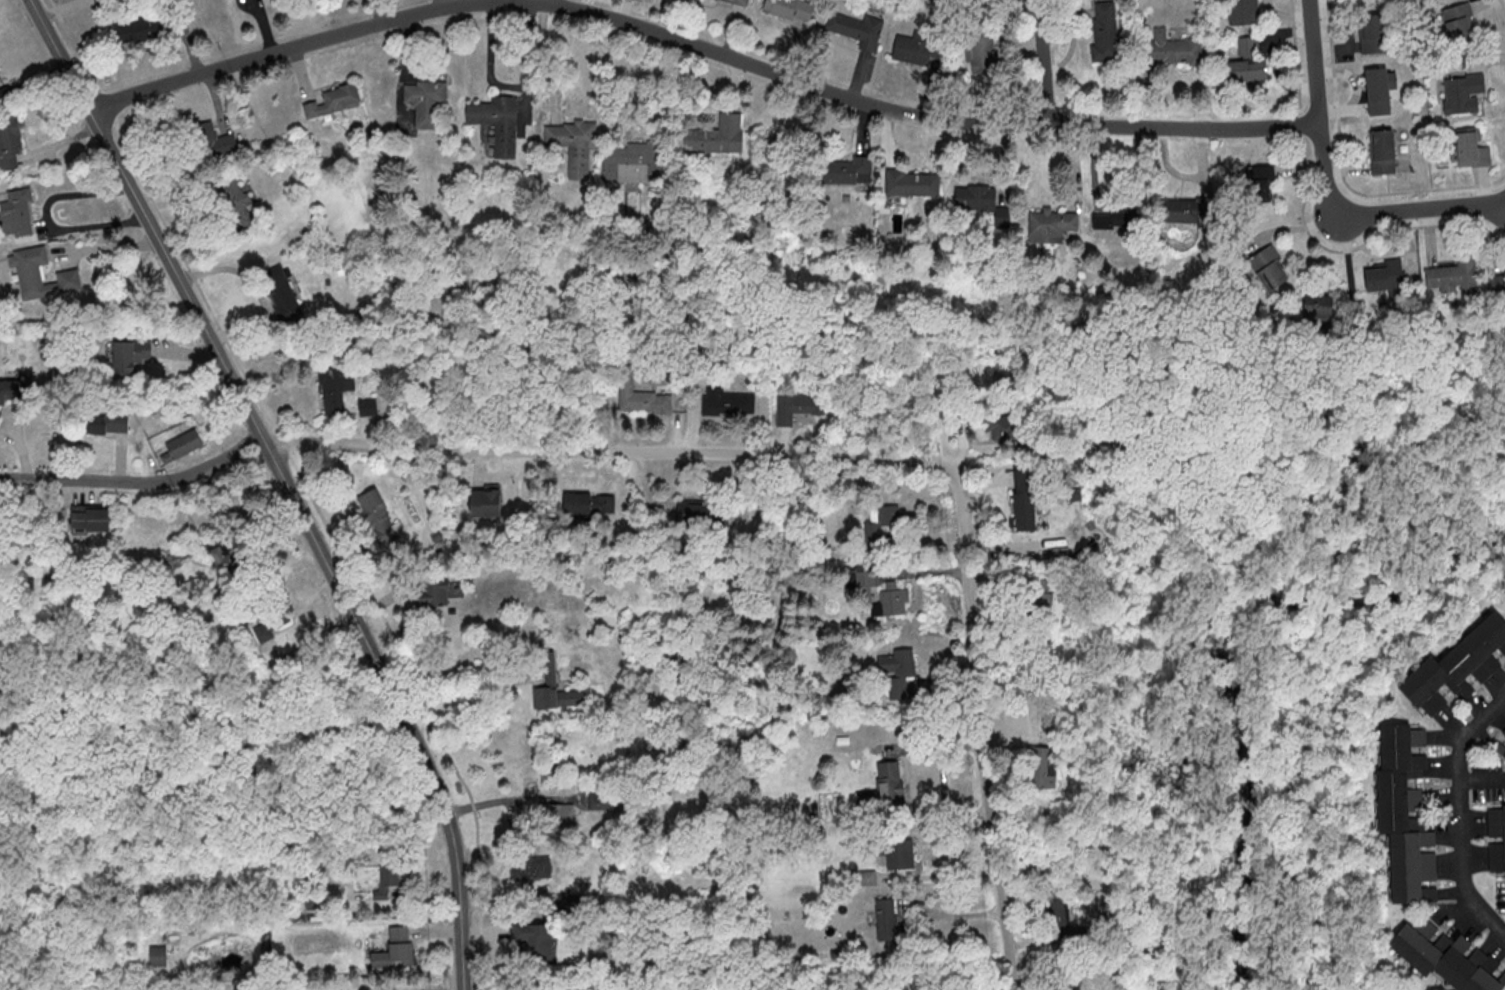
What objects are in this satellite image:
road: (534, 1)
building: (739, 2)
building: (790, 9)
building: (1244, 11)
building: (1459, 21)
building: (139, 29)
building: (858, 29)
building: (1105, 31)
building: (1372, 33)
road: (701, 46)
building: (982, 46)
building: (1172, 48)
building: (915, 50)
building: (1248, 60)
road: (1045, 62)
road: (1315, 62)
building: (0, 78)
road: (511, 85)
building: (1379, 91)
building: (1462, 94)
building: (334, 100)
building: (425, 100)
building: (498, 123)
building: (717, 136)
building: (216, 140)
building: (10, 142)
building: (573, 145)
building: (1470, 149)
building: (1382, 151)
building: (632, 161)
building: (840, 171)
building: (913, 183)
building: (1260, 183)
building: (975, 199)
building: (238, 203)
building: (1177, 211)
road: (1378, 212)
building: (17, 213)
building: (1112, 217)
building: (1051, 227)
road: (108, 246)
building: (1269, 268)
building: (41, 274)
building: (1453, 276)
building: (1385, 279)
building: (1497, 286)
building: (281, 292)
building: (1318, 308)
building: (130, 354)
building: (15, 390)
building: (333, 391)
building: (641, 397)
building: (728, 402)
building: (795, 406)
building: (105, 422)
building: (1009, 426)
building: (182, 445)
road: (874, 459)
road: (137, 482)
road: (286, 482)
building: (1025, 500)
building: (486, 503)
building: (590, 503)
building: (701, 513)
building: (887, 515)
building: (380, 517)
building: (90, 518)
building: (174, 557)
building: (230, 558)
building: (434, 592)
building: (1040, 597)
building: (894, 599)
building: (269, 626)
river: (1215, 642)
building: (1457, 667)
building: (897, 668)
building: (556, 688)
road: (459, 689)
building: (1500, 747)
building: (1045, 772)
building: (885, 787)
building: (599, 803)
building: (558, 814)
building: (1405, 814)
road: (1461, 817)
building: (1496, 839)
building: (899, 853)
building: (531, 869)
road: (943, 874)
building: (391, 883)
building: (1058, 908)
building: (887, 919)
building: (534, 939)
building: (396, 949)
building: (158, 955)
building: (1446, 957)

